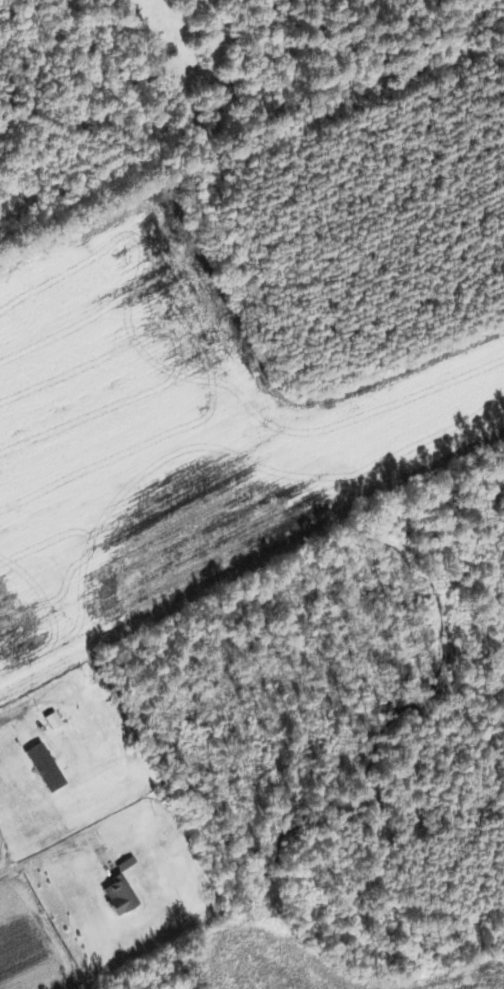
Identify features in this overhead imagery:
road: (17, 704)
building: (118, 896)

